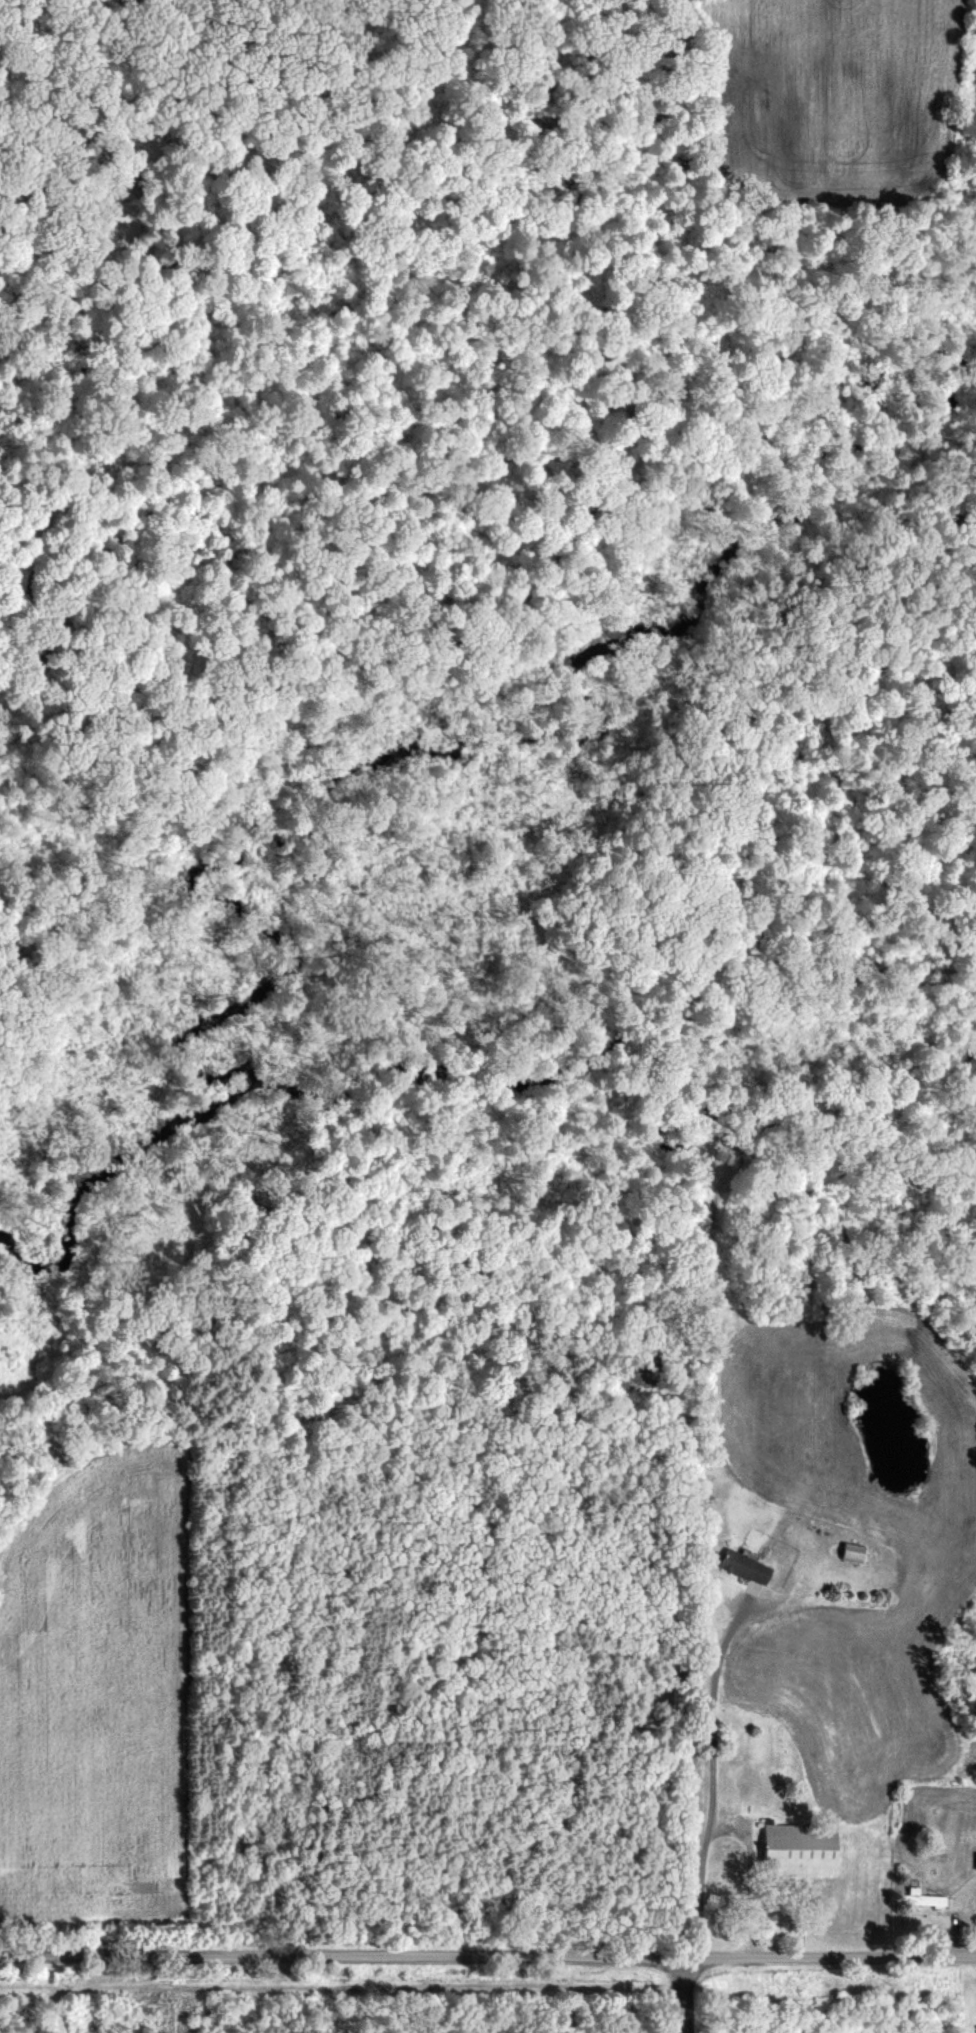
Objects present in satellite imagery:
building: (738, 1568)
road: (707, 1783)
building: (793, 1850)
building: (973, 1861)
road: (746, 1872)
building: (918, 1900)
road: (488, 1957)
road: (683, 1996)

